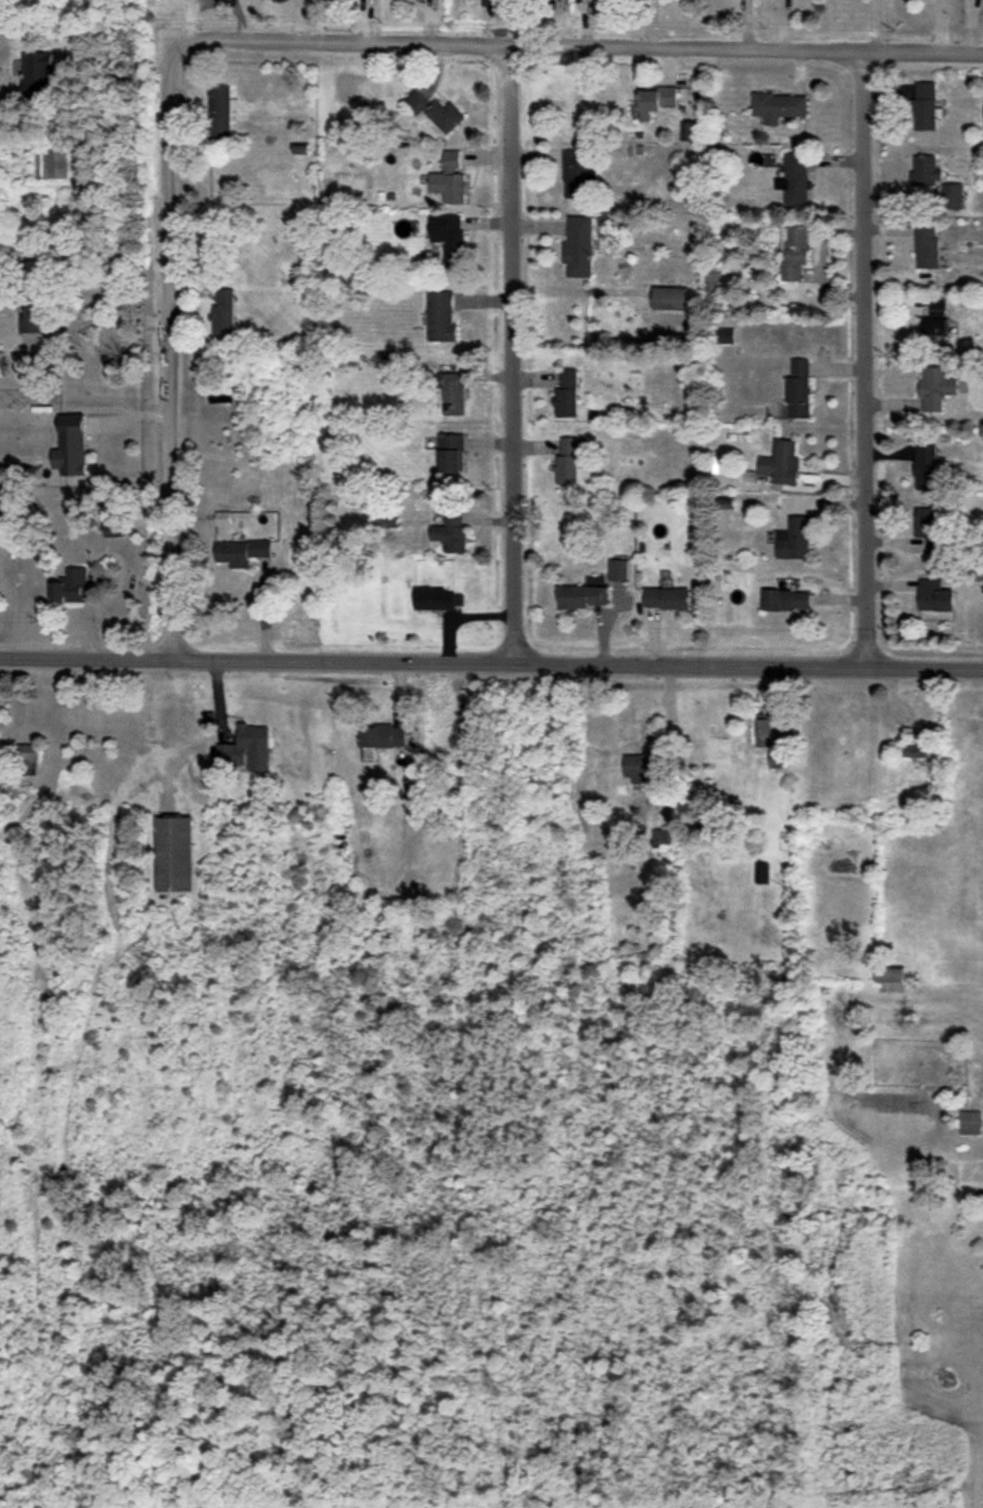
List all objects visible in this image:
building: (490, 3)
road: (581, 47)
building: (38, 73)
building: (657, 100)
building: (779, 106)
building: (924, 106)
building: (435, 110)
building: (221, 112)
building: (688, 131)
building: (924, 171)
building: (577, 173)
building: (450, 179)
building: (794, 179)
building: (952, 195)
building: (449, 238)
building: (926, 245)
building: (579, 247)
building: (794, 251)
building: (713, 284)
building: (670, 298)
building: (223, 312)
building: (441, 317)
building: (32, 320)
road: (109, 320)
building: (935, 321)
road: (168, 347)
road: (508, 353)
road: (864, 357)
building: (2, 364)
building: (936, 387)
building: (799, 388)
building: (453, 393)
building: (566, 394)
building: (72, 446)
building: (452, 453)
building: (570, 459)
building: (781, 463)
building: (926, 467)
building: (0, 501)
building: (223, 518)
building: (928, 528)
building: (451, 531)
building: (794, 539)
building: (242, 552)
building: (618, 569)
building: (71, 586)
building: (583, 596)
building: (934, 596)
building: (667, 598)
building: (437, 599)
building: (786, 600)
road: (491, 660)
road: (668, 727)
building: (763, 730)
building: (383, 736)
building: (917, 746)
building: (246, 749)
building: (26, 752)
building: (777, 758)
building: (28, 767)
building: (639, 767)
building: (660, 842)
building: (174, 854)
building: (762, 873)
building: (890, 975)
building: (970, 1122)

